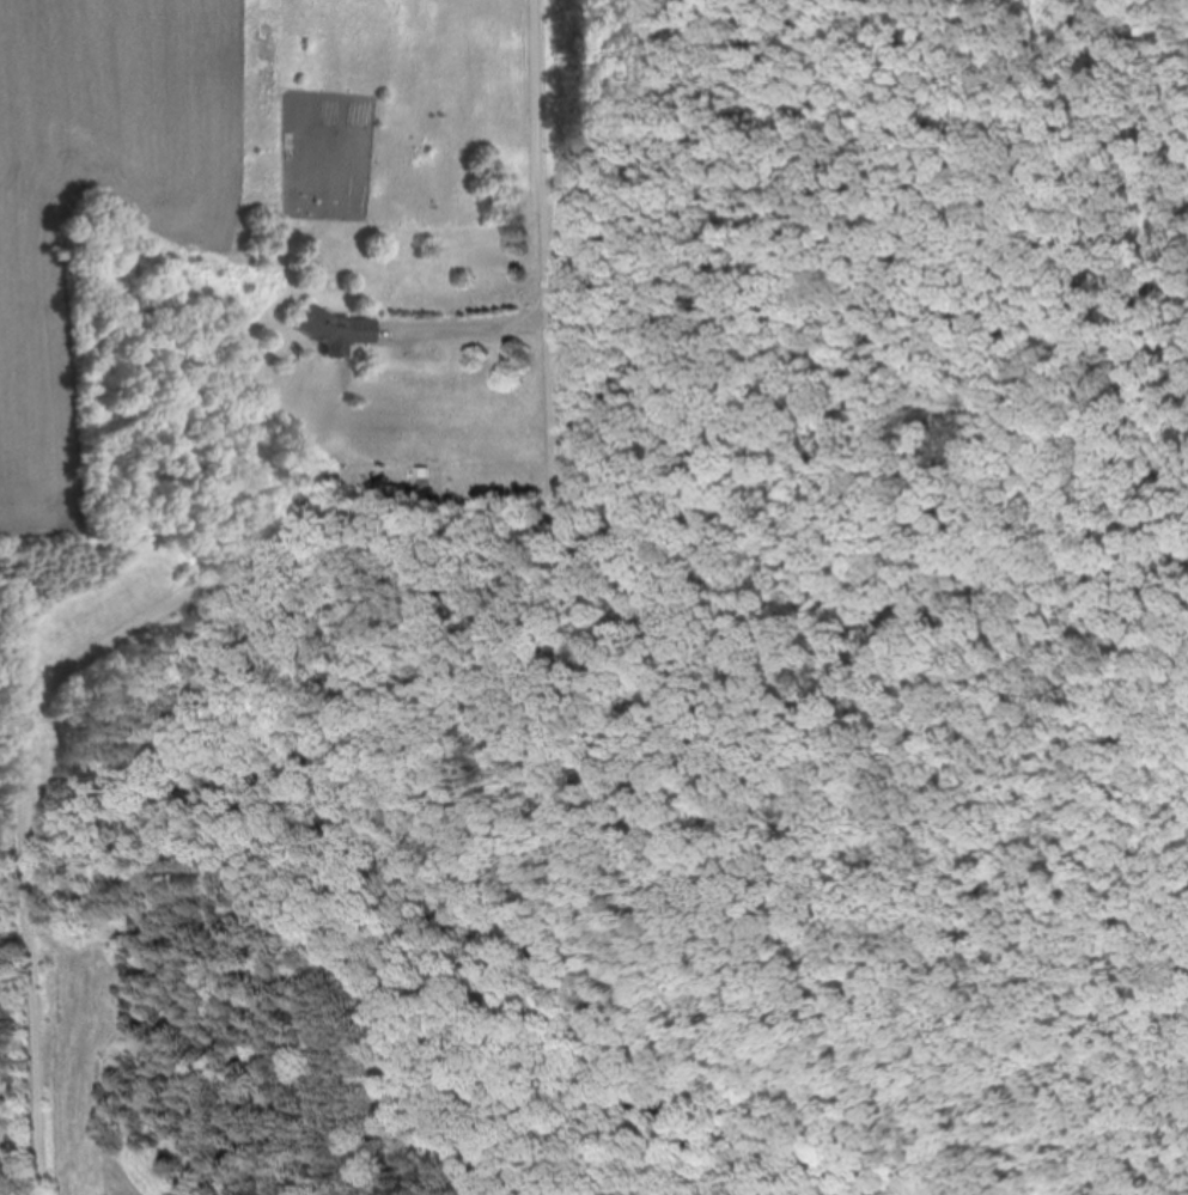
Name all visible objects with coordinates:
road: (547, 255)
road: (467, 324)
building: (339, 329)
road: (69, 667)

